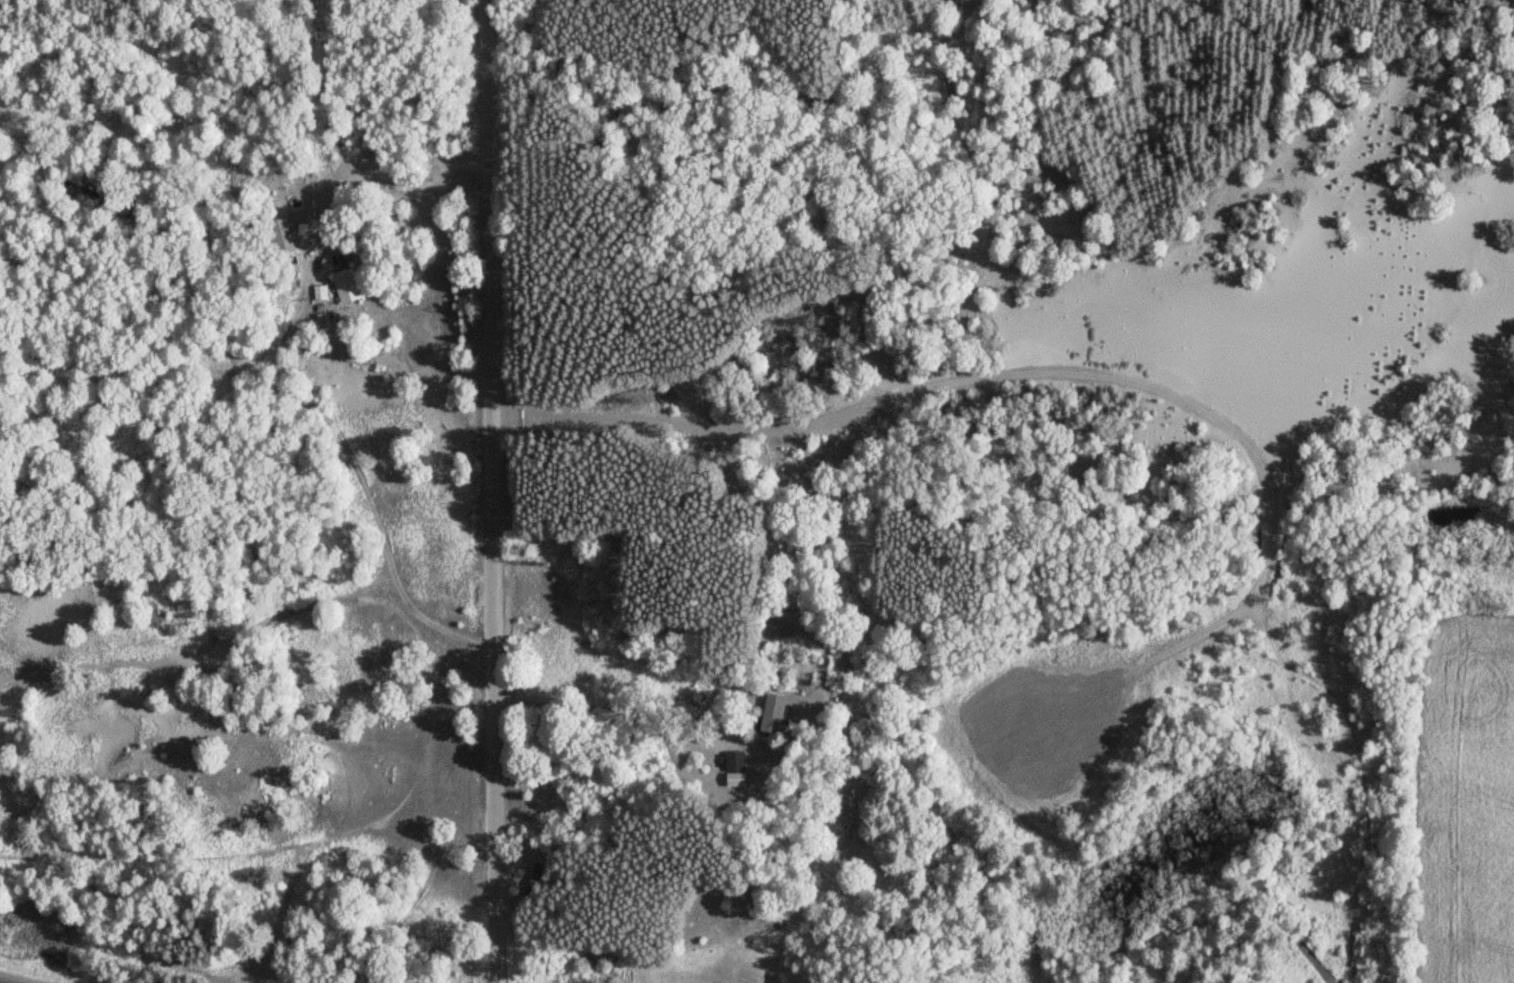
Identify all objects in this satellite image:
building: (348, 286)
building: (321, 292)
road: (491, 491)
building: (777, 712)
building: (737, 768)
building: (535, 880)

